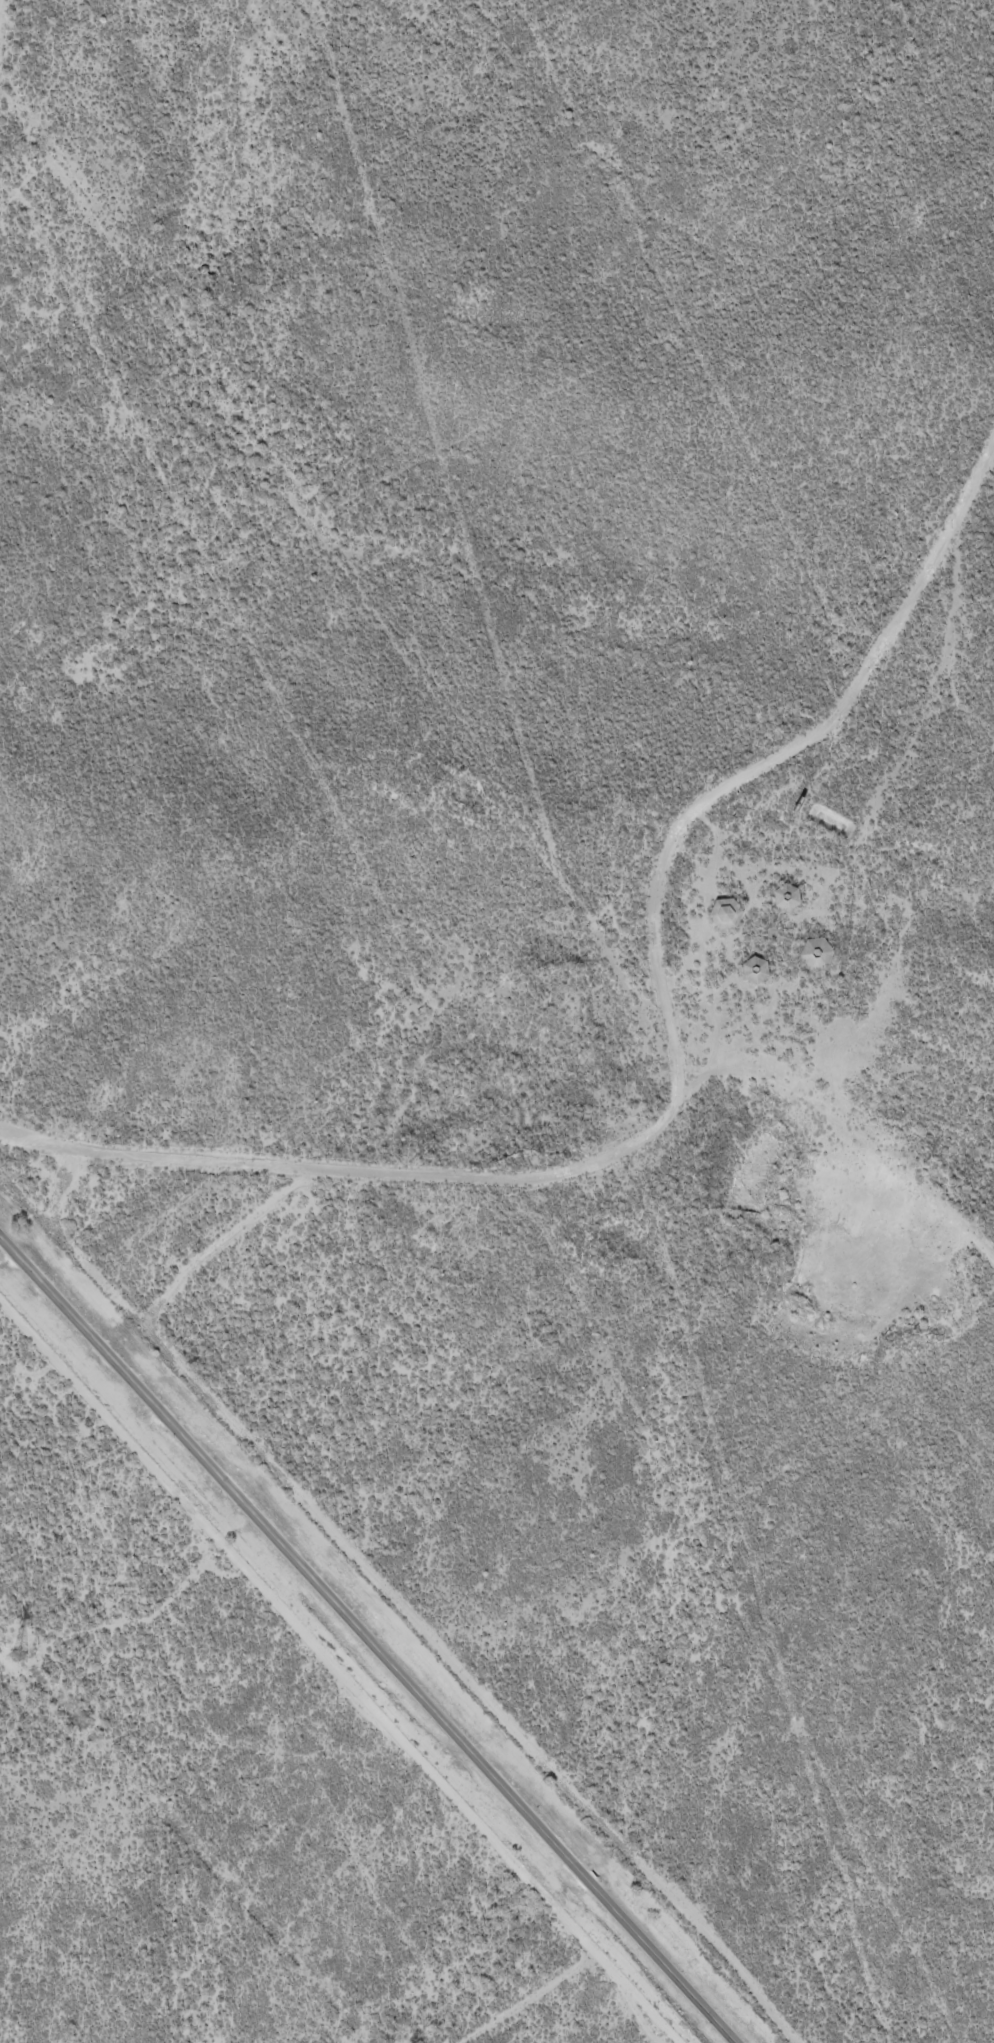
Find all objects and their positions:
power tower: (16, 1655)

